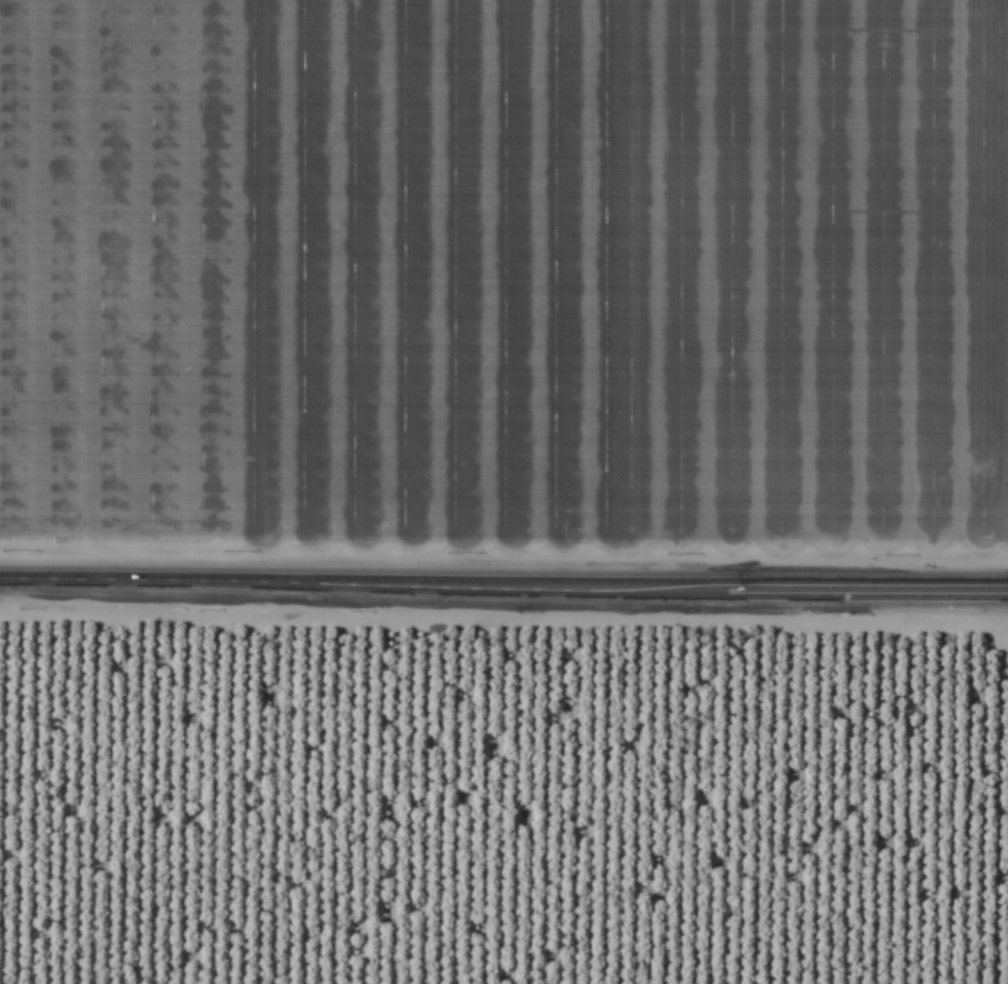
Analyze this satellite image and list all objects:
road: (504, 584)
crop: (504, 792)

